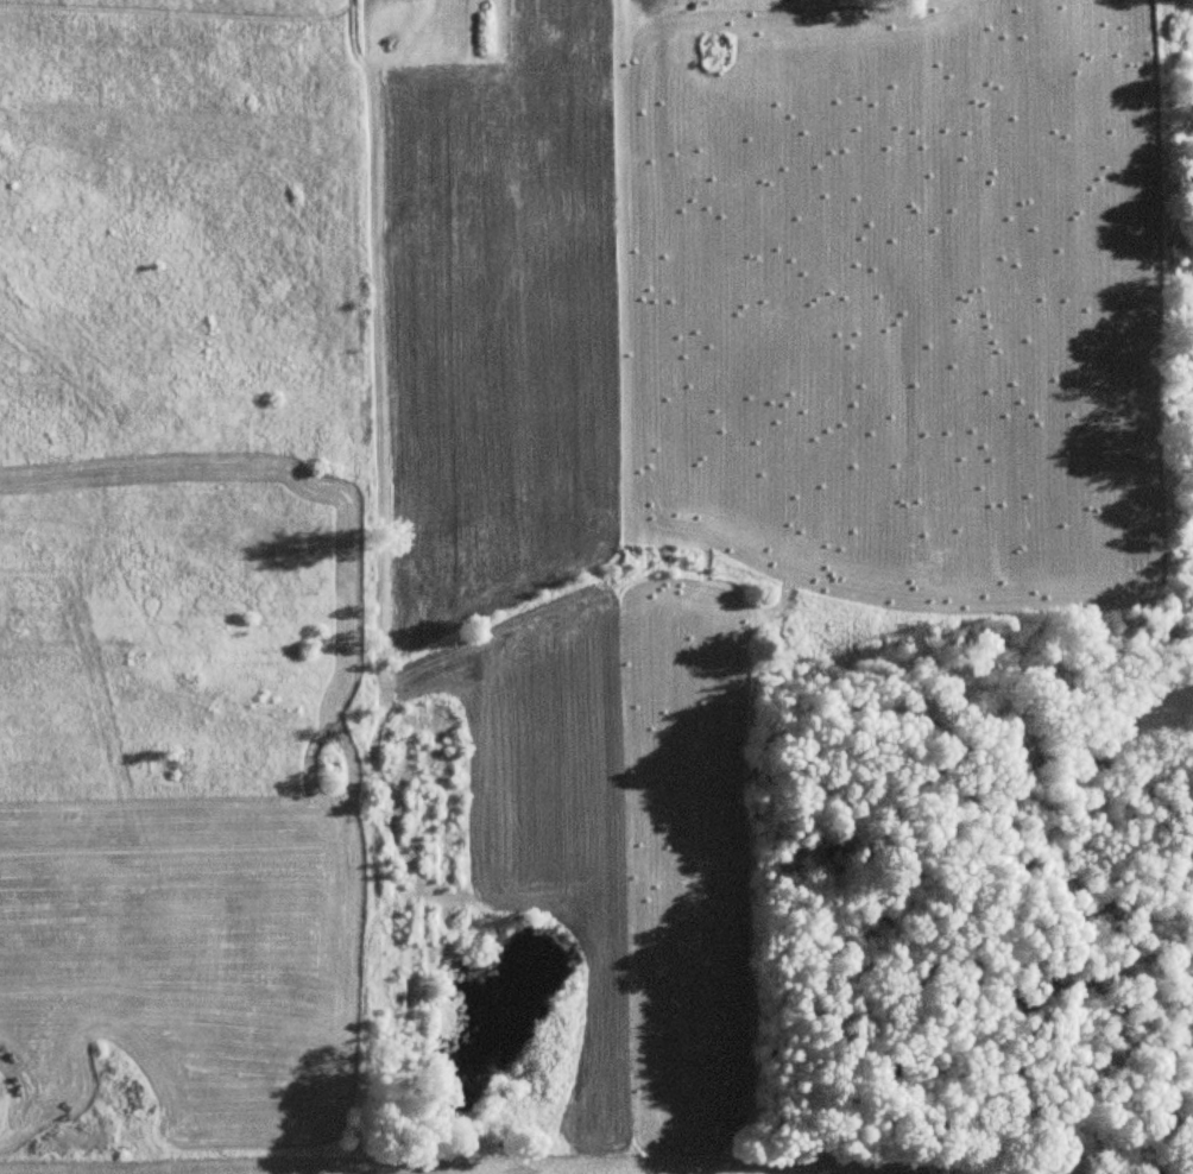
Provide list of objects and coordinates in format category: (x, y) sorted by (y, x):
crop: (492, 1166)

